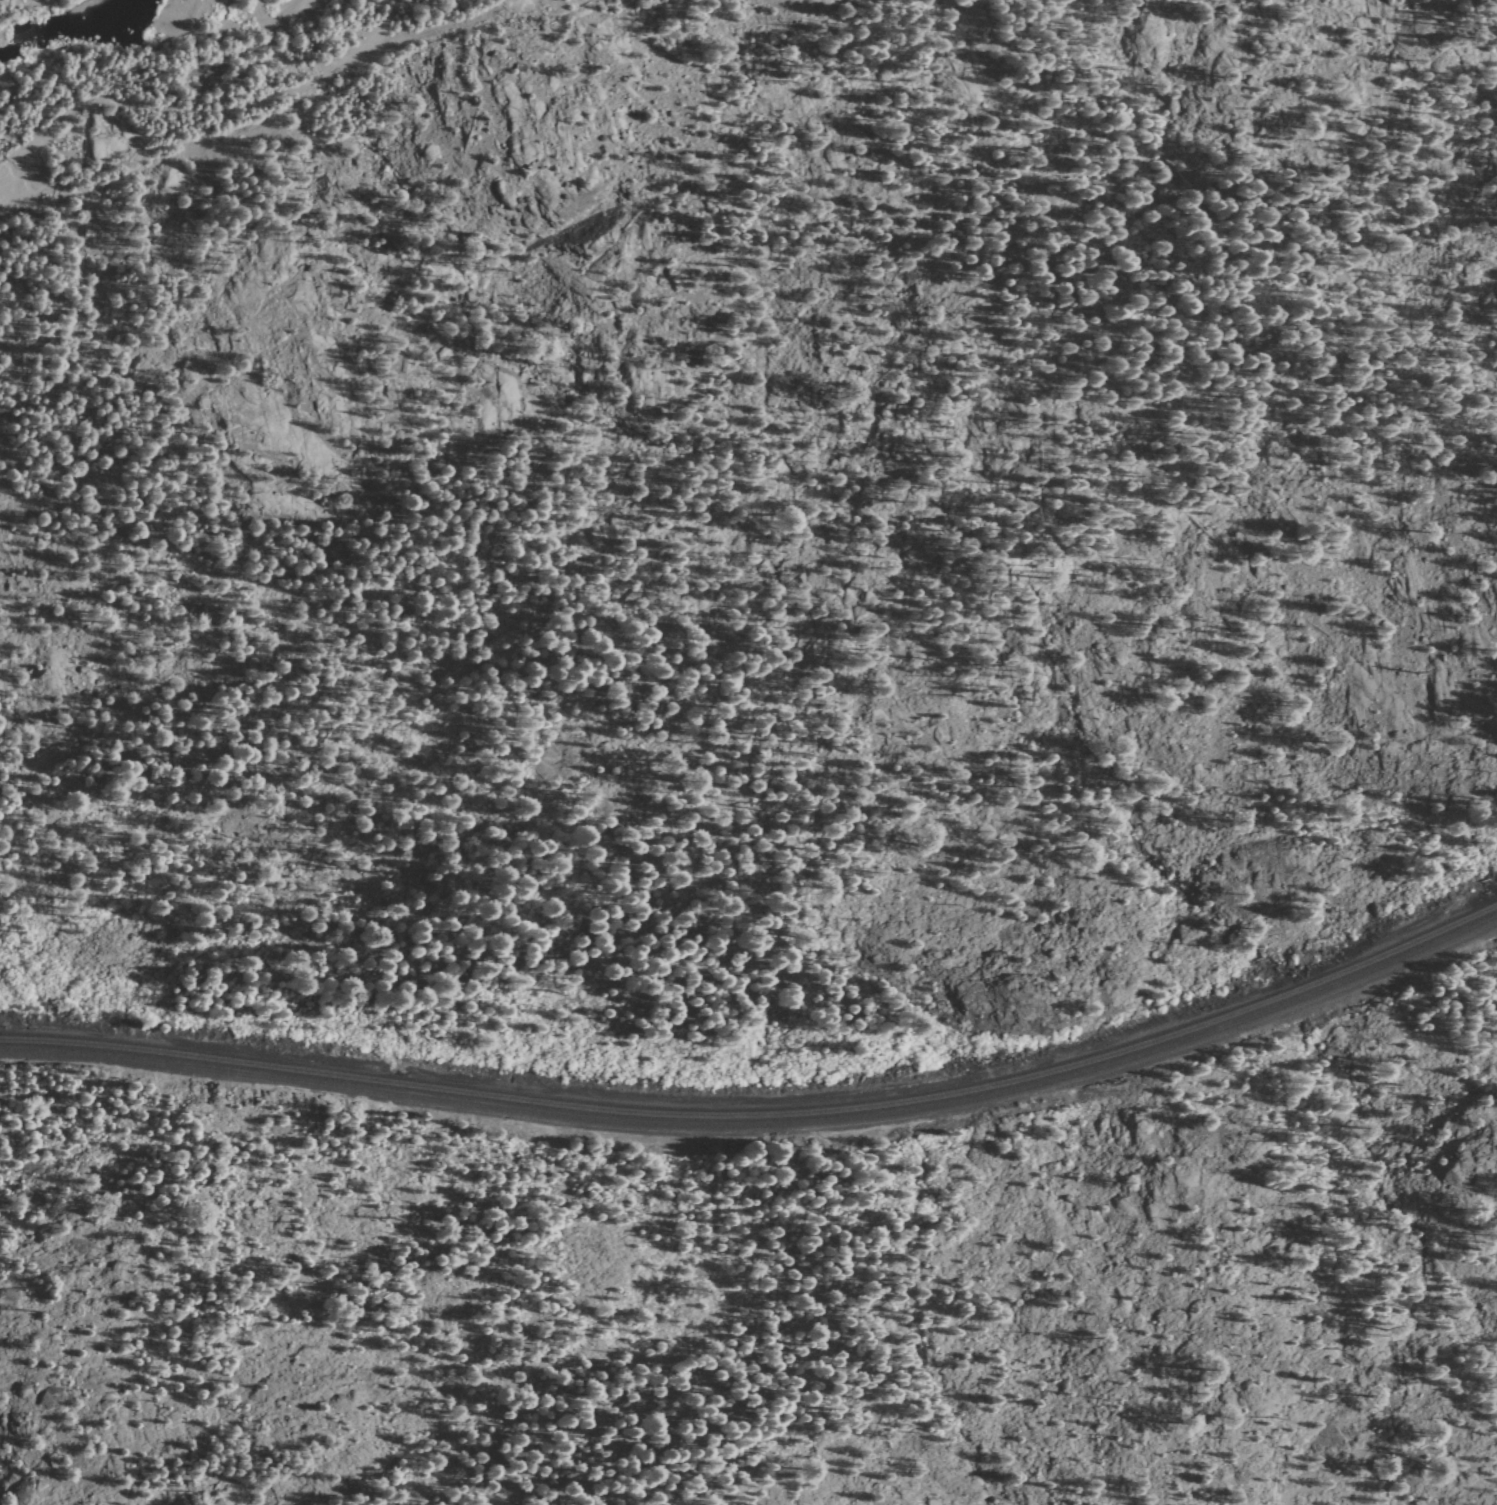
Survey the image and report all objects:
road: (263, 96)
road: (13, 175)
railway: (763, 1119)
railway: (763, 1131)

